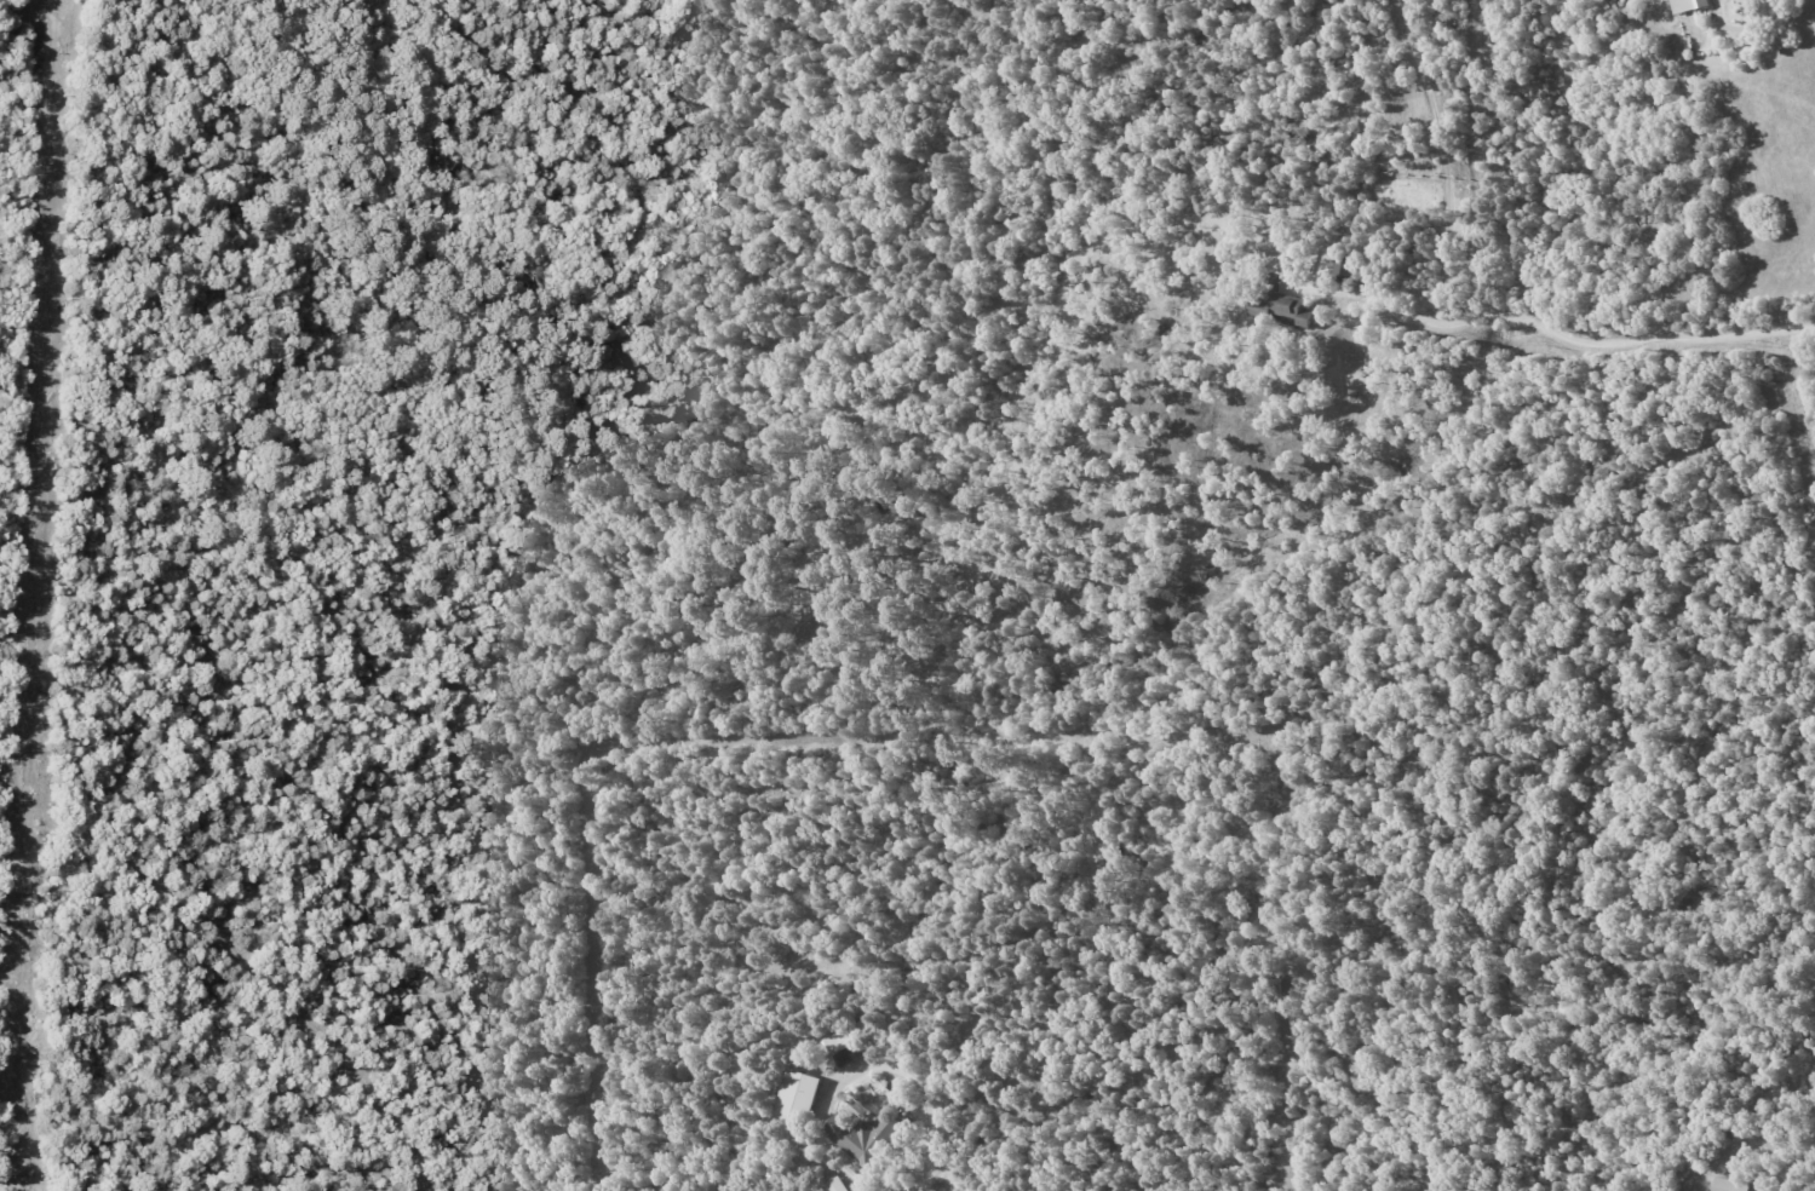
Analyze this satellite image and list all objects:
building: (1688, 5)
road: (1446, 166)
building: (1280, 307)
road: (1553, 346)
building: (798, 1097)
building: (867, 1138)
road: (935, 1138)
building: (837, 1185)
building: (1729, 1185)

